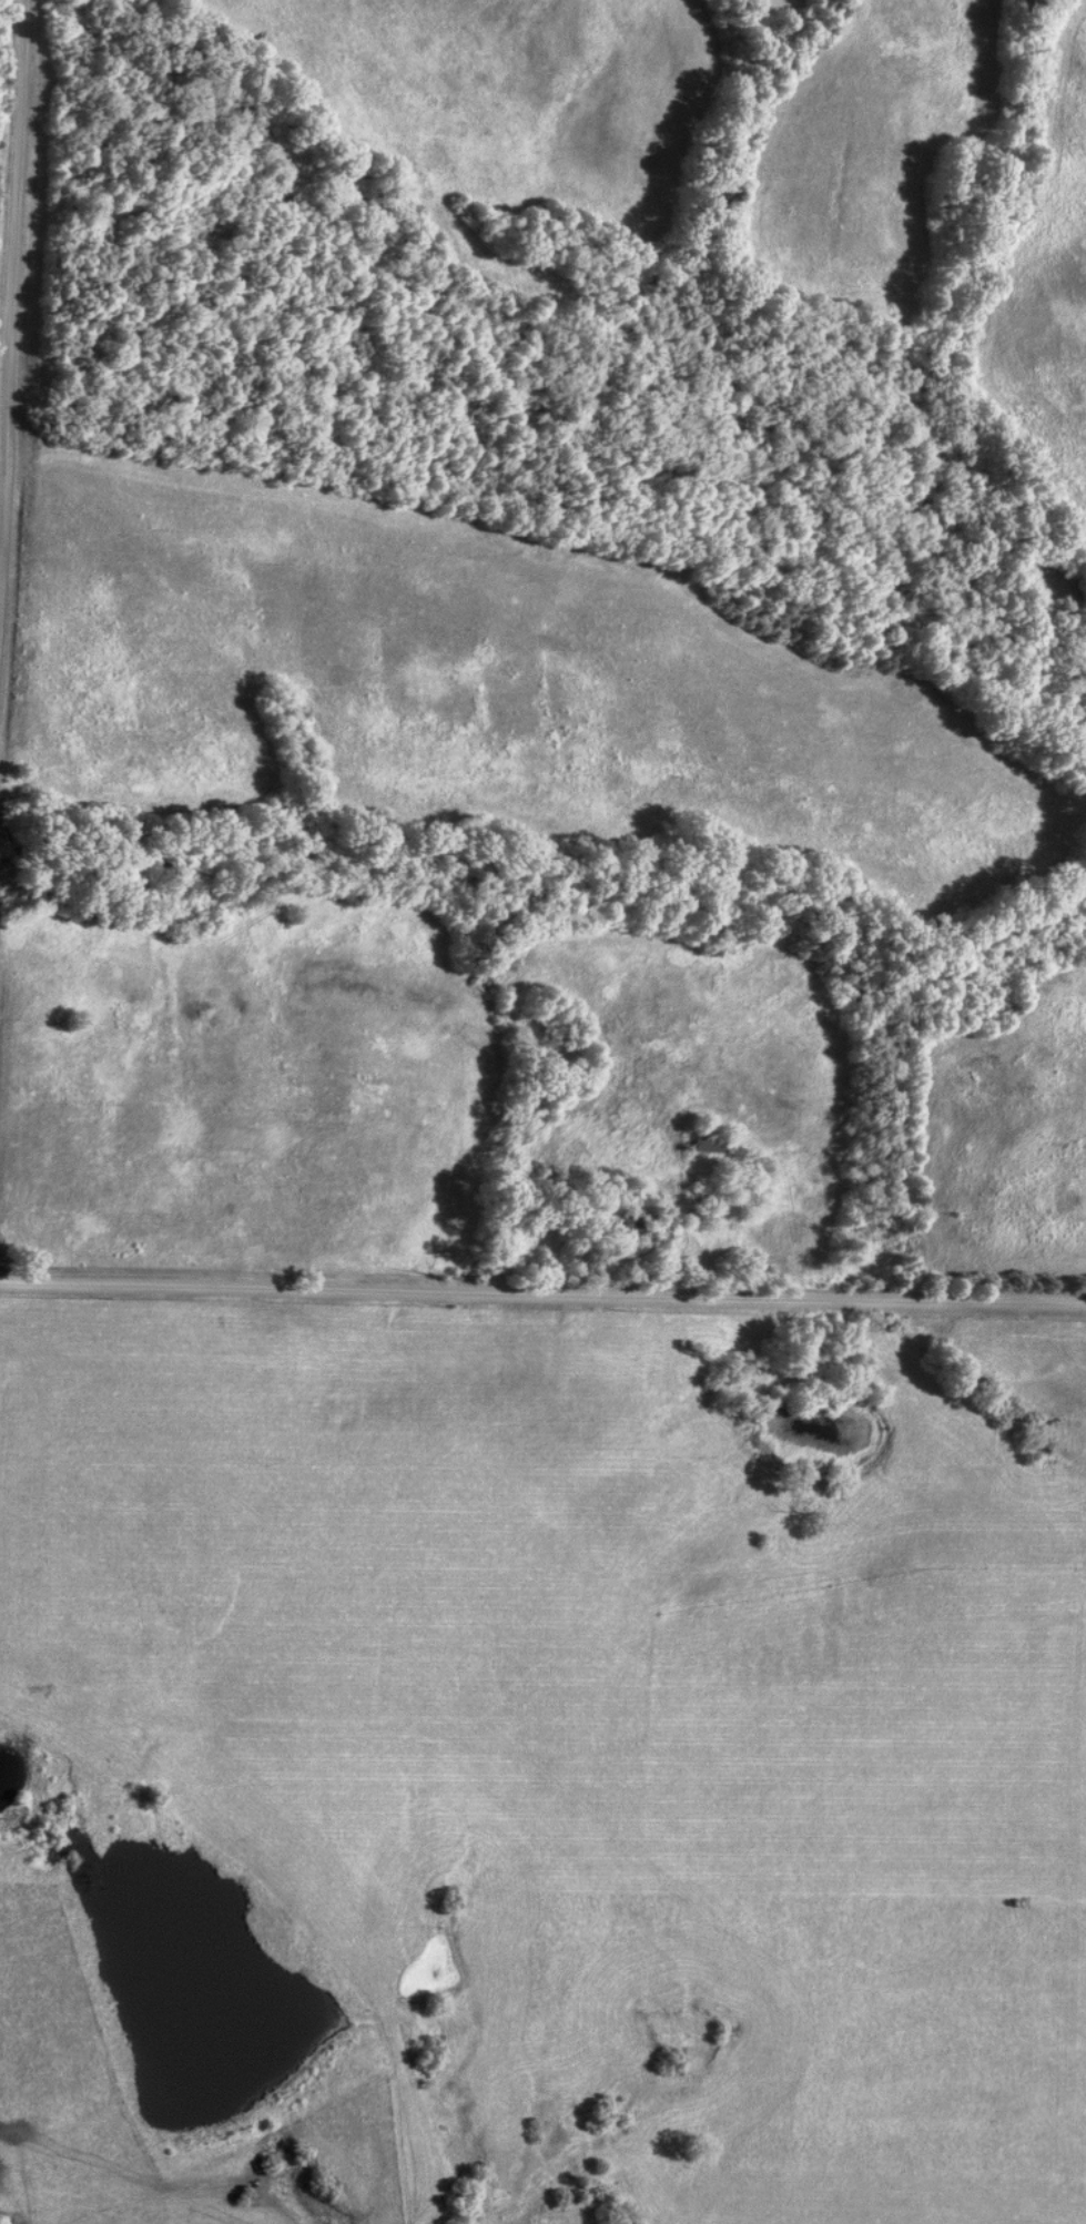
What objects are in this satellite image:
road: (11, 336)
road: (542, 1299)
road: (500, 1791)

